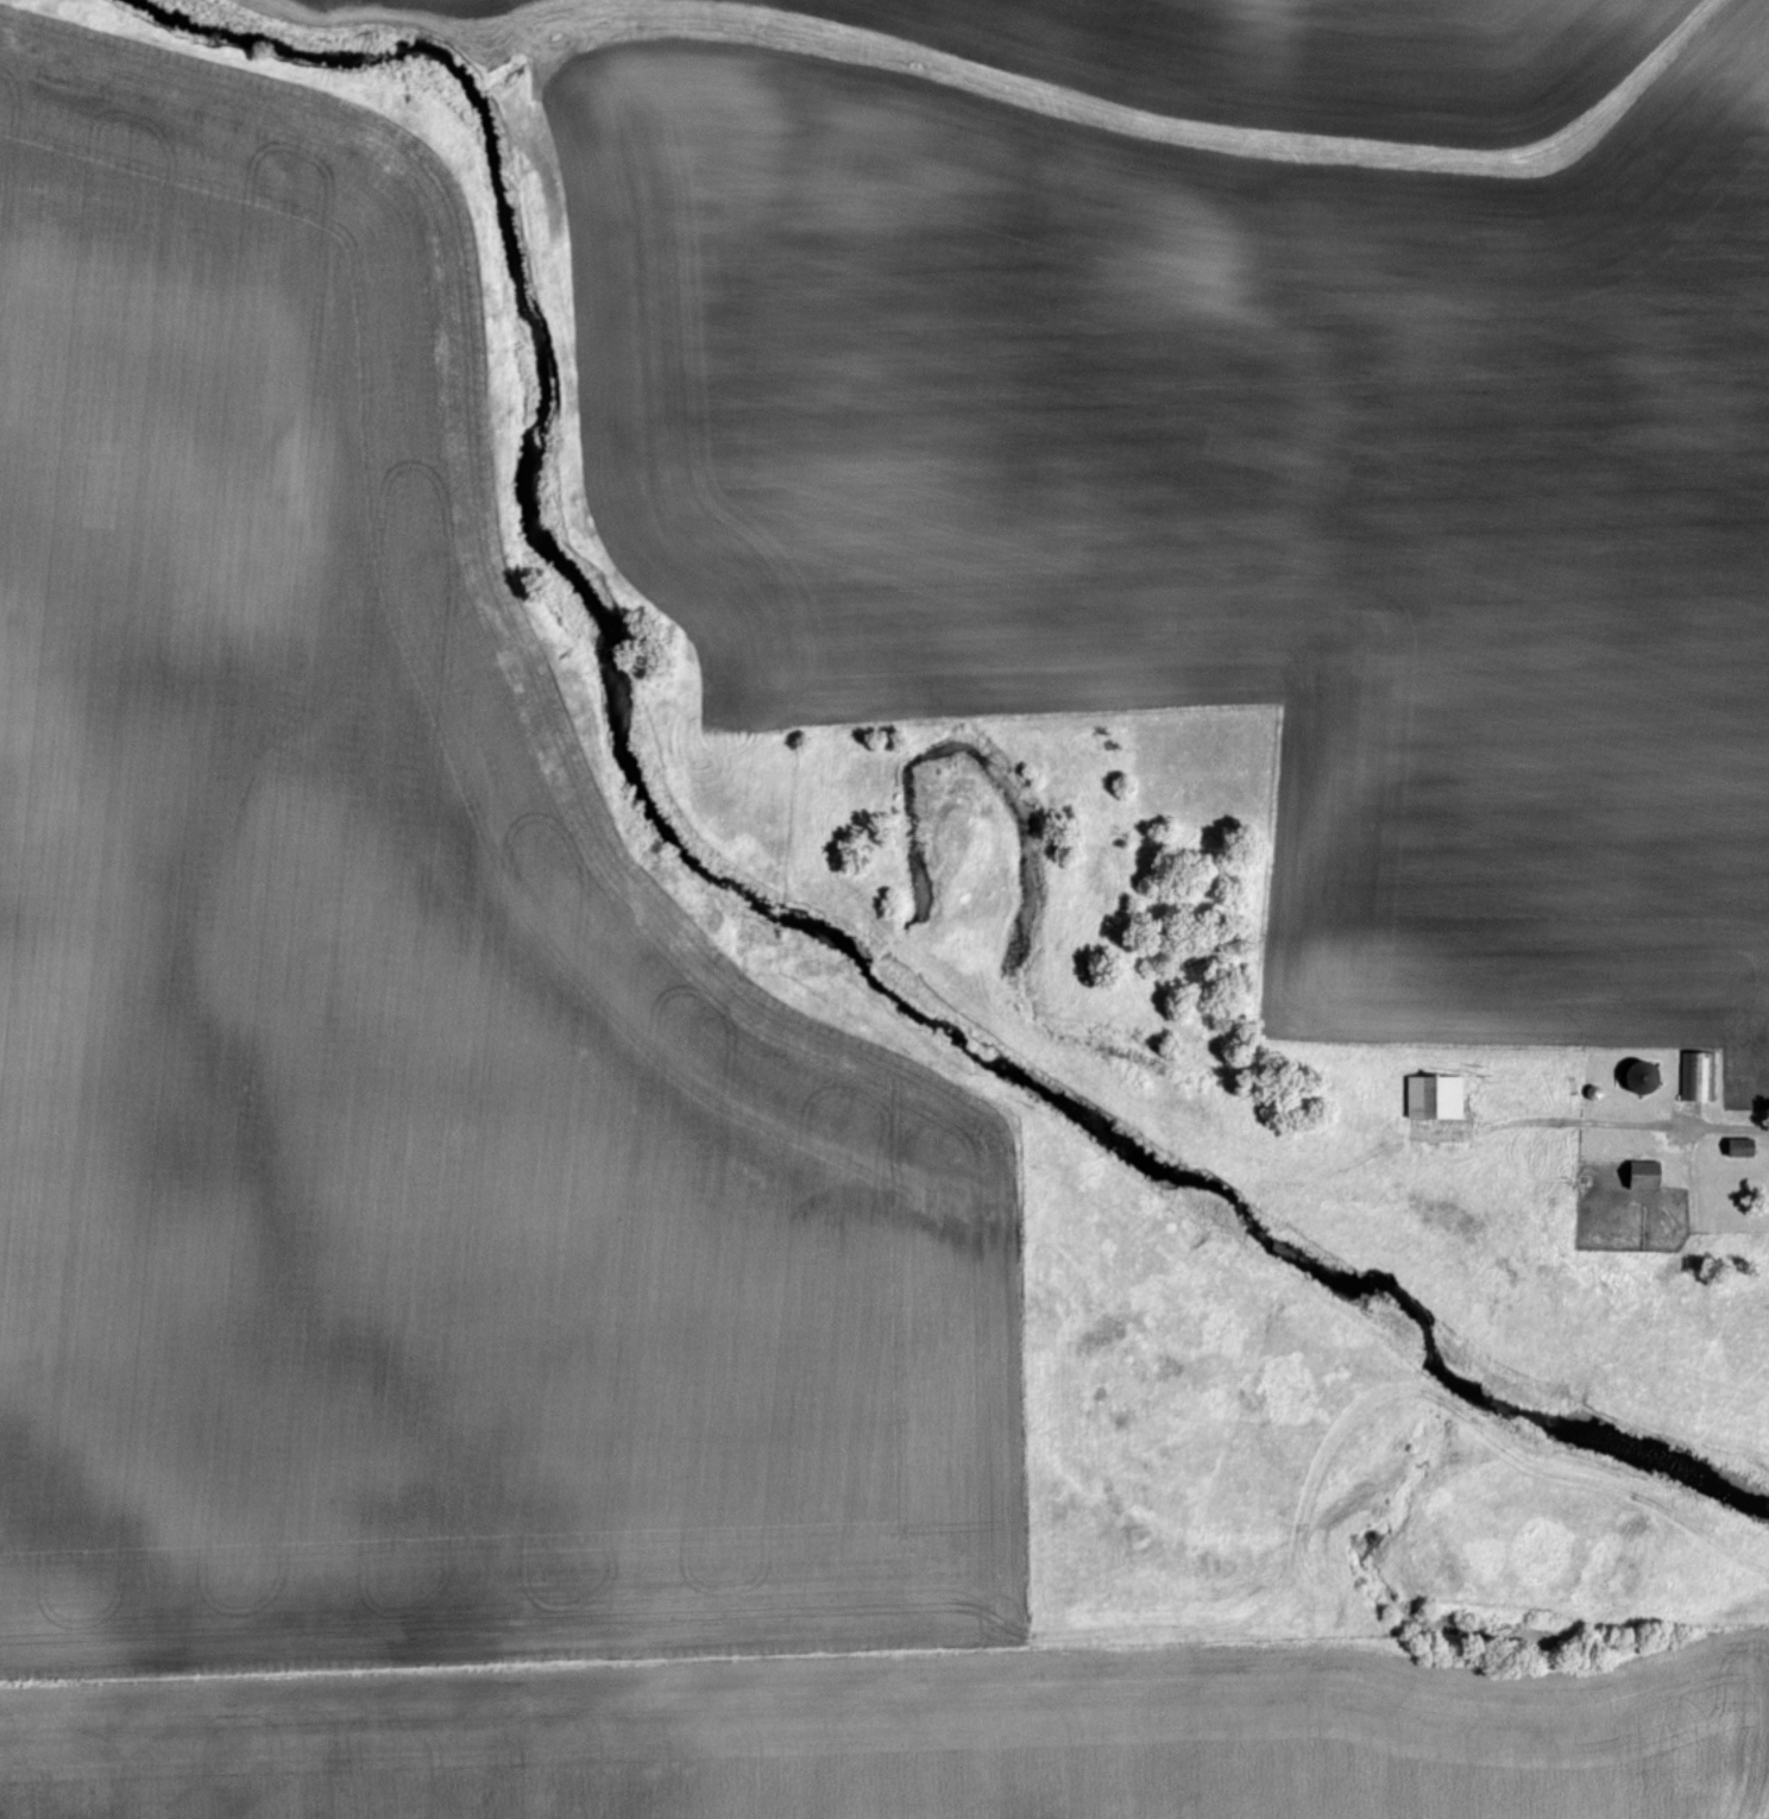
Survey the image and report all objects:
building: (1699, 1077)
building: (1436, 1097)
road: (1631, 1119)
building: (1743, 1148)
building: (1647, 1176)

